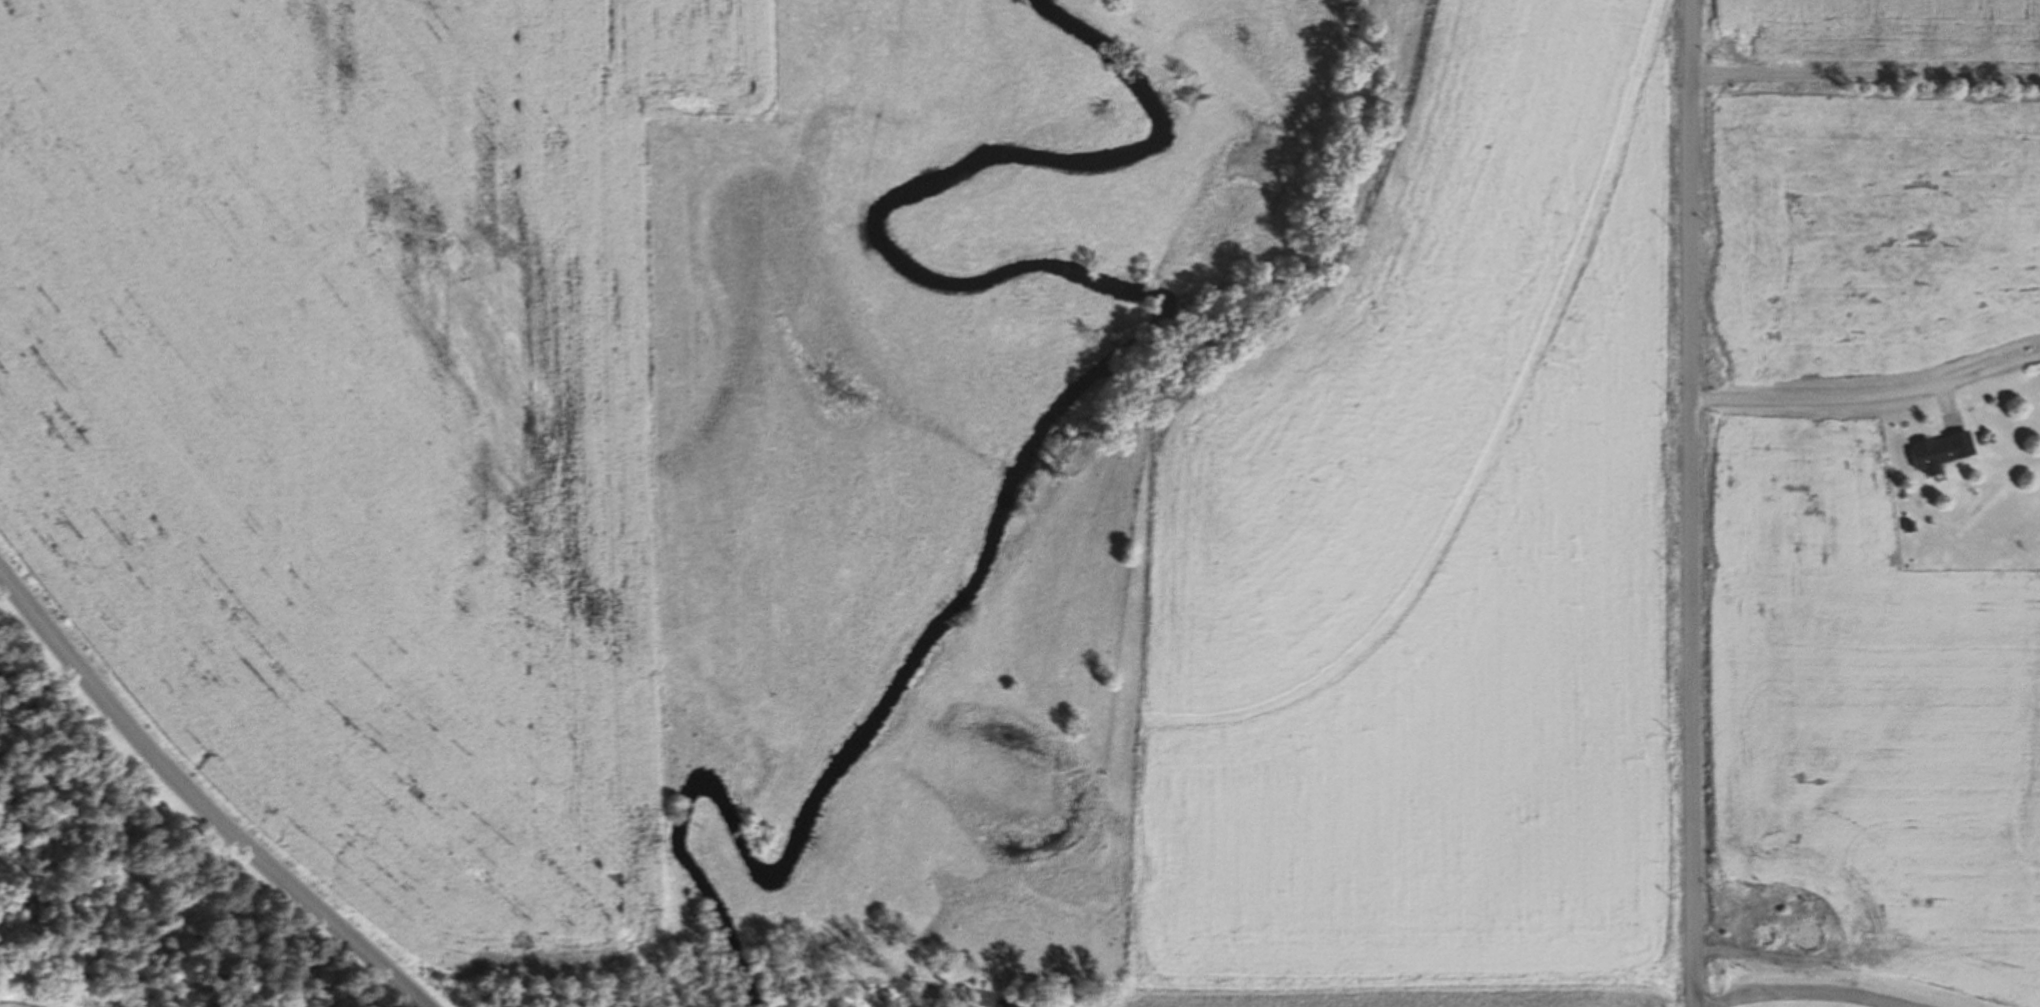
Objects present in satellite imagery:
road: (1865, 71)
river: (1112, 383)
road: (1867, 396)
building: (1943, 451)
road: (1690, 503)
road: (198, 803)
building: (1771, 934)
building: (1813, 935)
road: (1799, 1002)

